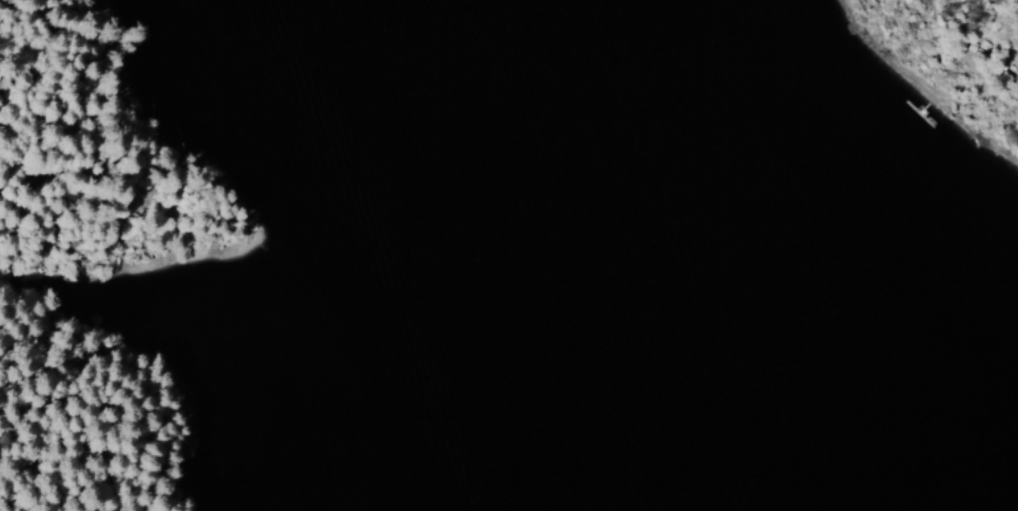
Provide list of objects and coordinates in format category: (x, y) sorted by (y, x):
river: (654, 268)

